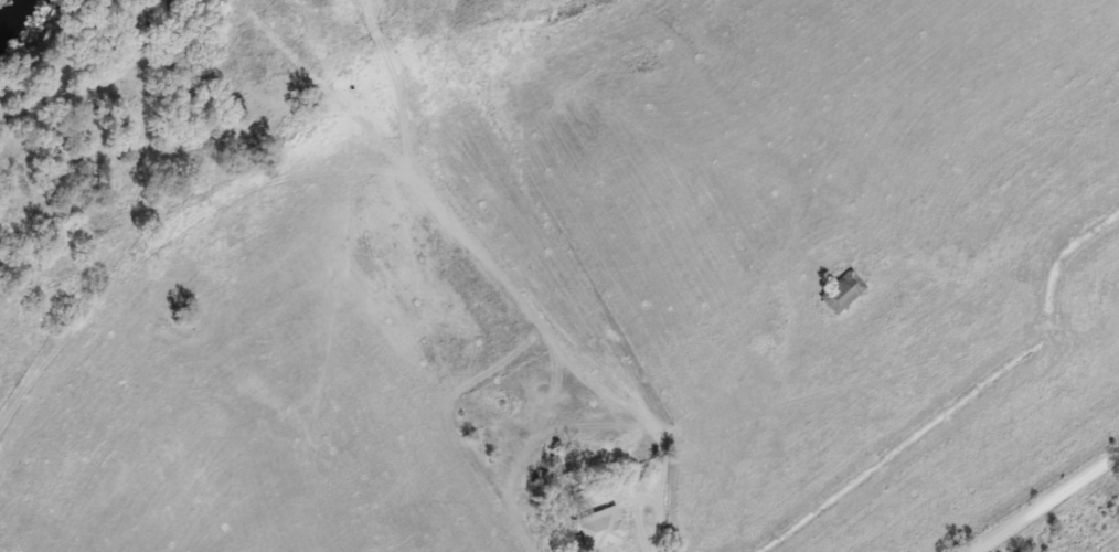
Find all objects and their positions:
river: (15, 20)
building: (839, 293)
road: (1047, 503)
building: (596, 529)
railway: (1112, 548)

